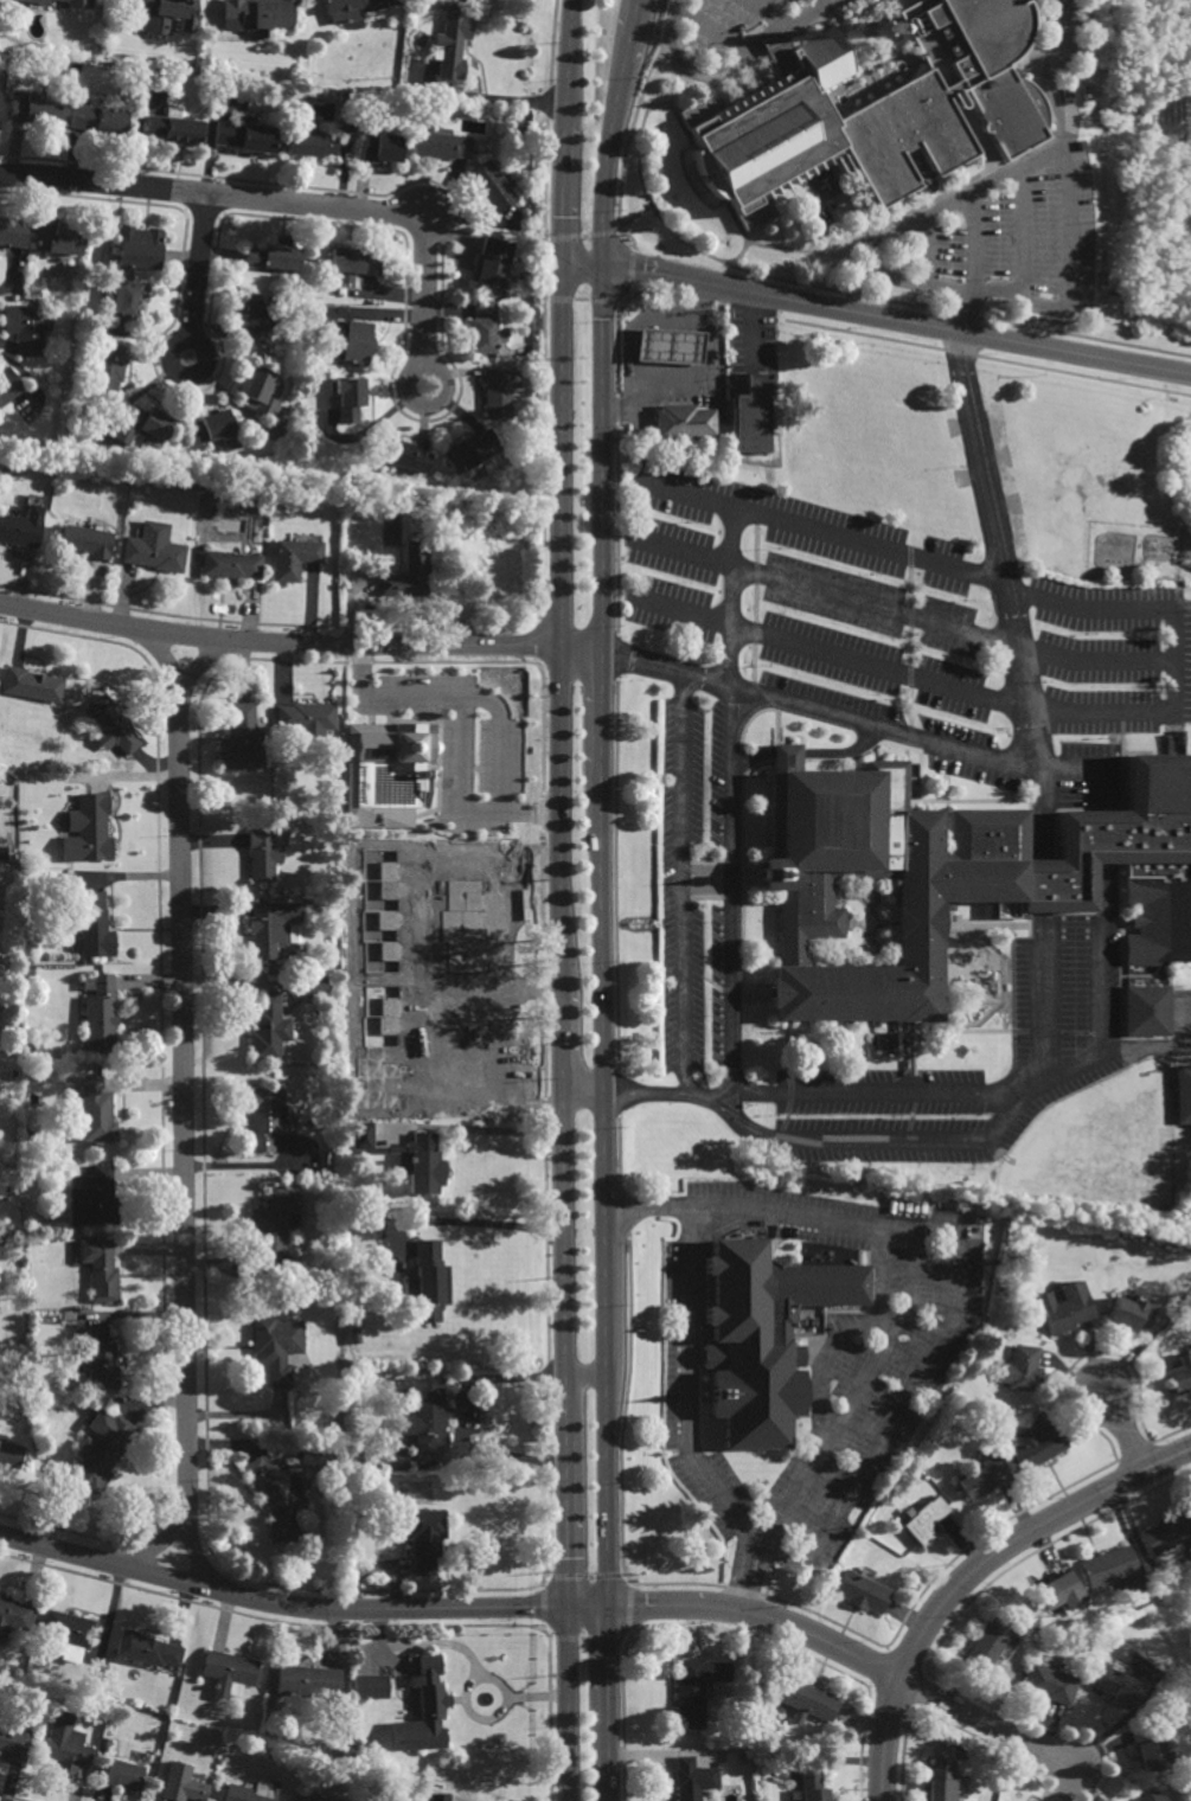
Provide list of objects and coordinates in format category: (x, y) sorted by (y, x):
road: (825, 2)
building: (78, 6)
building: (350, 8)
building: (165, 13)
road: (767, 13)
building: (257, 15)
building: (878, 28)
road: (710, 31)
building: (452, 46)
road: (731, 60)
road: (1040, 75)
building: (34, 105)
building: (872, 108)
building: (492, 111)
building: (98, 116)
road: (1070, 126)
building: (175, 128)
building: (518, 130)
building: (244, 134)
building: (310, 140)
building: (443, 145)
building: (1080, 145)
building: (380, 146)
building: (493, 186)
road: (280, 201)
building: (12, 231)
road: (1018, 231)
building: (56, 236)
building: (140, 246)
road: (926, 252)
road: (875, 254)
building: (275, 255)
traffic signals: (562, 257)
building: (354, 263)
building: (495, 263)
traffic signals: (602, 264)
road: (199, 267)
building: (126, 300)
building: (261, 316)
road: (876, 318)
building: (27, 328)
road: (751, 328)
building: (487, 329)
building: (351, 339)
road: (201, 345)
building: (664, 347)
gas station: (664, 347)
road: (431, 367)
building: (109, 368)
road: (690, 376)
building: (7, 386)
building: (258, 391)
building: (498, 391)
building: (351, 398)
building: (751, 417)
building: (680, 422)
building: (146, 427)
building: (216, 430)
building: (472, 451)
building: (404, 459)
road: (680, 493)
building: (23, 527)
road: (993, 531)
building: (88, 541)
road: (866, 545)
building: (155, 550)
building: (295, 559)
building: (231, 566)
building: (409, 575)
road: (894, 611)
road: (299, 642)
road: (203, 662)
building: (33, 686)
road: (382, 704)
road: (744, 711)
road: (1024, 711)
building: (73, 714)
building: (308, 722)
building: (113, 728)
building: (243, 741)
road: (495, 746)
road: (809, 754)
building: (396, 768)
road: (1090, 773)
road: (602, 802)
road: (559, 803)
road: (460, 809)
road: (1040, 821)
building: (94, 828)
road: (1102, 835)
building: (264, 854)
road: (728, 860)
building: (14, 861)
road: (705, 872)
building: (955, 878)
road: (680, 884)
road: (707, 886)
road: (1042, 887)
building: (92, 923)
building: (271, 925)
building: (309, 931)
road: (1102, 956)
building: (11, 963)
building: (28, 972)
road: (418, 978)
road: (533, 979)
building: (13, 980)
building: (313, 983)
road: (1043, 995)
road: (534, 999)
building: (1147, 1010)
building: (101, 1013)
building: (268, 1026)
building: (418, 1041)
building: (332, 1055)
road: (1100, 1055)
building: (14, 1073)
road: (583, 1092)
road: (1011, 1094)
building: (1183, 1094)
road: (185, 1105)
road: (722, 1109)
building: (96, 1110)
building: (267, 1117)
building: (32, 1136)
road: (502, 1139)
building: (425, 1165)
building: (1, 1184)
building: (96, 1198)
building: (34, 1222)
road: (480, 1224)
building: (275, 1228)
building: (28, 1237)
building: (100, 1269)
building: (431, 1281)
road: (879, 1281)
building: (1068, 1309)
building: (1132, 1314)
building: (357, 1335)
building: (761, 1339)
building: (276, 1347)
road: (827, 1355)
building: (101, 1359)
building: (1022, 1370)
building: (1180, 1374)
road: (585, 1378)
building: (30, 1390)
building: (428, 1417)
road: (837, 1422)
road: (889, 1425)
road: (1123, 1428)
building: (1037, 1446)
building: (101, 1451)
building: (319, 1454)
building: (11, 1455)
building: (395, 1460)
building: (985, 1479)
building: (277, 1496)
building: (924, 1520)
building: (1165, 1534)
building: (427, 1539)
road: (155, 1545)
building: (1108, 1566)
road: (972, 1572)
building: (1061, 1592)
building: (862, 1594)
road: (300, 1607)
traffic signals: (565, 1608)
traffic signals: (609, 1608)
building: (14, 1617)
road: (760, 1617)
building: (66, 1630)
building: (987, 1645)
building: (146, 1649)
building: (11, 1668)
building: (228, 1669)
building: (307, 1678)
building: (1050, 1684)
building: (371, 1685)
building: (1115, 1685)
building: (690, 1693)
building: (808, 1698)
road: (568, 1704)
road: (609, 1704)
building: (425, 1710)
road: (986, 1723)
building: (245, 1742)
building: (14, 1743)
building: (66, 1744)
building: (1147, 1748)
building: (169, 1751)
building: (123, 1774)
building: (183, 1782)
building: (687, 1782)
building: (942, 1782)
building: (813, 1783)
building: (251, 1792)
building: (1151, 1795)
building: (312, 1799)

